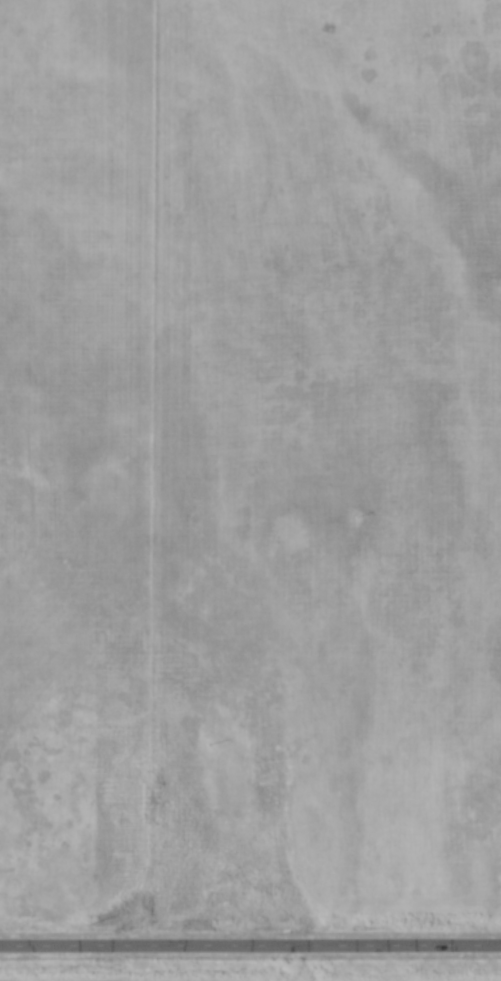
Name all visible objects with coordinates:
road: (250, 943)

